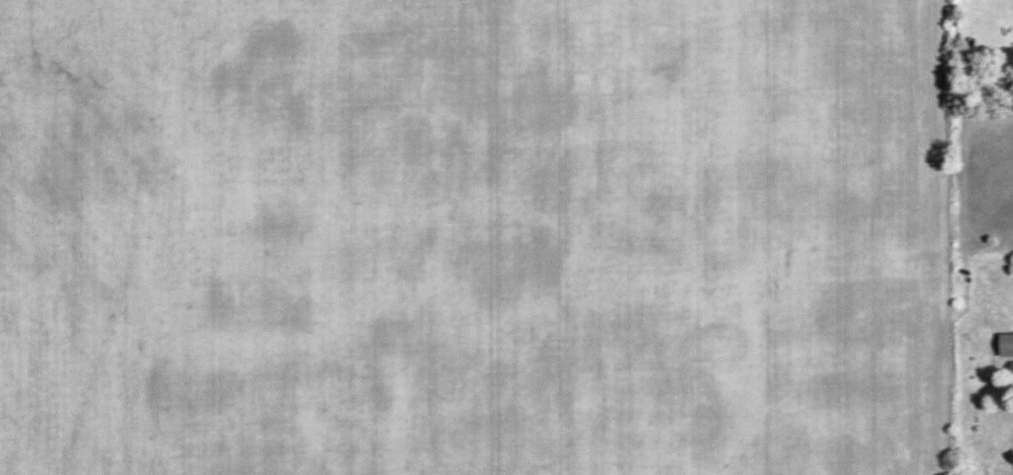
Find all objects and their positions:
building: (1004, 344)
building: (1010, 367)

